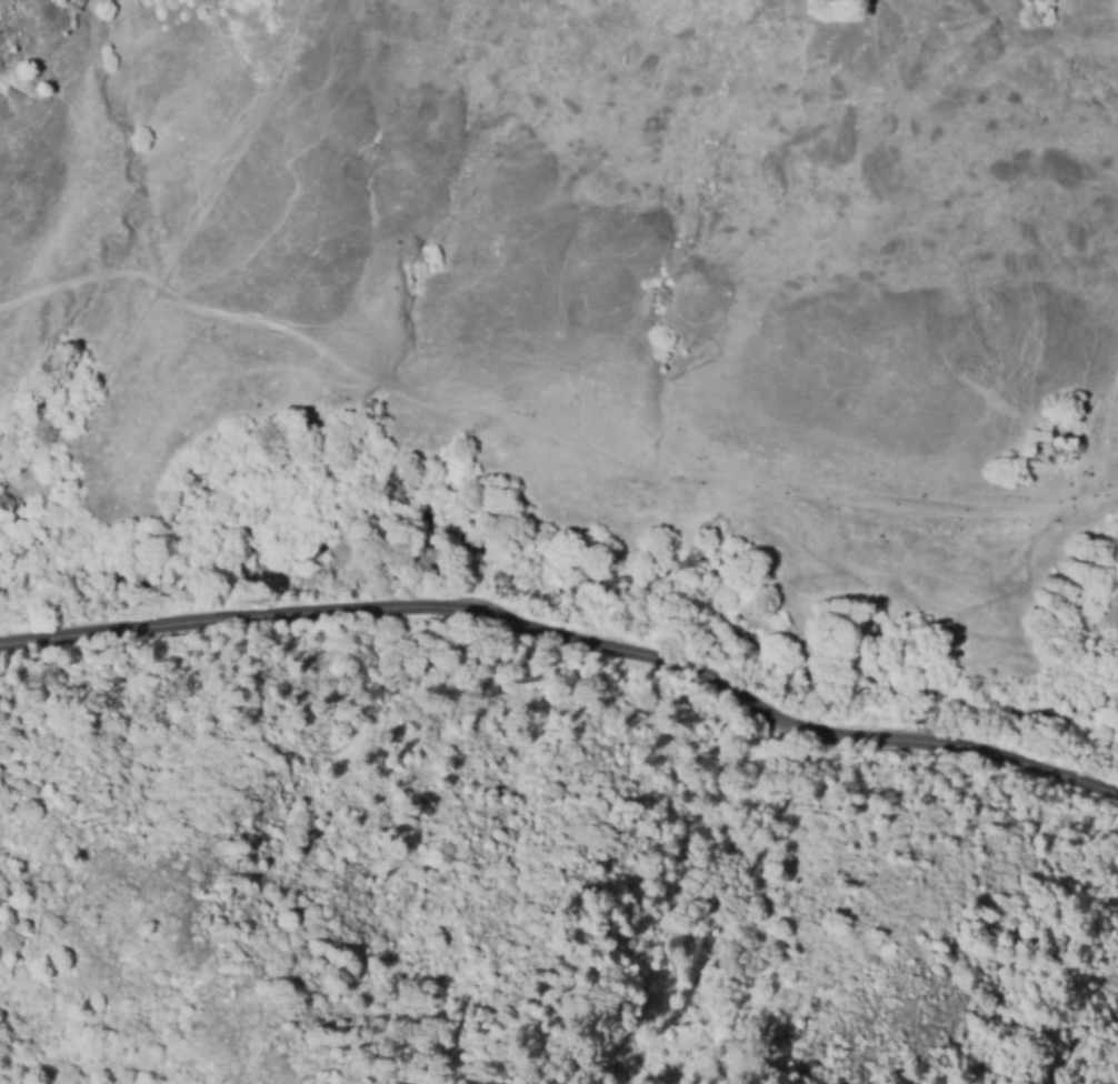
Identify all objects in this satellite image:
road: (570, 628)

